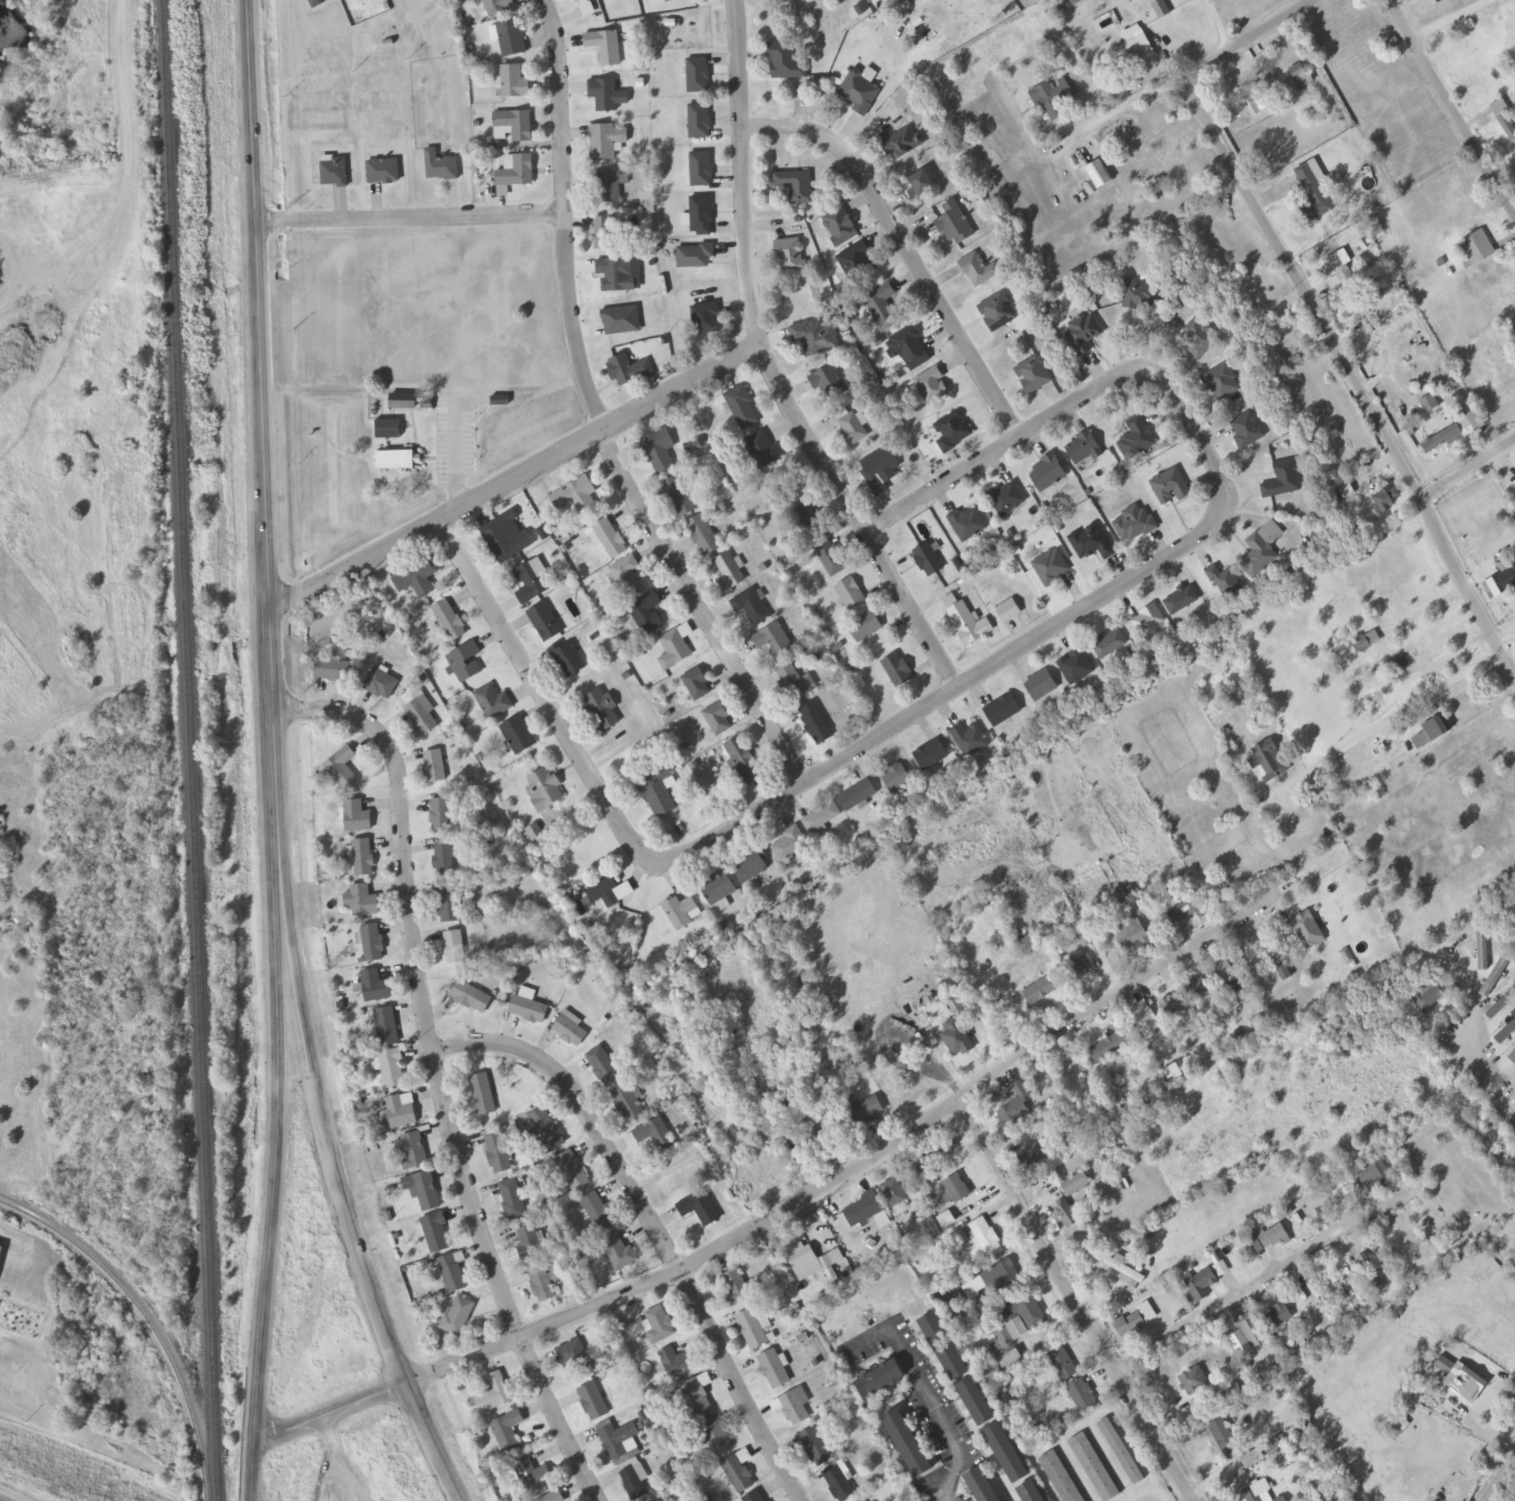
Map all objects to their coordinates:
building: (576, 0)
building: (668, 0)
building: (317, 2)
building: (1076, 2)
building: (498, 7)
building: (1161, 9)
road: (1451, 19)
building: (512, 38)
road: (1249, 39)
building: (605, 47)
building: (1133, 49)
building: (786, 62)
building: (698, 76)
building: (1303, 80)
building: (514, 83)
building: (860, 90)
building: (1248, 94)
building: (607, 96)
building: (1054, 98)
road: (1452, 103)
building: (1504, 118)
building: (700, 121)
building: (513, 126)
building: (606, 142)
building: (901, 143)
road: (422, 166)
building: (440, 167)
building: (701, 170)
building: (516, 171)
building: (383, 172)
building: (334, 173)
building: (921, 185)
building: (608, 186)
building: (796, 186)
building: (1158, 192)
building: (1314, 193)
road: (407, 216)
building: (701, 217)
building: (953, 223)
building: (840, 227)
building: (604, 234)
road: (906, 248)
building: (1478, 248)
building: (790, 256)
building: (695, 257)
building: (858, 262)
building: (1341, 268)
building: (979, 270)
building: (616, 276)
building: (1261, 282)
building: (1138, 296)
building: (1358, 306)
building: (886, 307)
building: (998, 312)
building: (706, 320)
building: (1083, 334)
building: (817, 338)
building: (1198, 339)
building: (909, 345)
road: (769, 365)
building: (628, 371)
road: (1352, 374)
building: (1034, 375)
building: (1221, 383)
building: (828, 384)
building: (932, 386)
building: (409, 402)
building: (743, 408)
road: (1063, 410)
road: (597, 416)
building: (852, 429)
building: (388, 430)
building: (1247, 431)
building: (952, 432)
building: (1453, 434)
building: (1136, 440)
building: (762, 450)
building: (1084, 450)
building: (658, 451)
building: (395, 461)
road: (1468, 466)
building: (880, 470)
building: (1048, 473)
road: (259, 478)
road: (512, 479)
building: (1284, 481)
building: (1170, 488)
building: (679, 497)
building: (577, 498)
building: (1007, 498)
building: (1388, 499)
building: (968, 524)
building: (1135, 526)
building: (703, 536)
building: (506, 538)
building: (610, 539)
building: (1091, 543)
building: (1262, 550)
building: (831, 558)
building: (928, 561)
building: (1051, 568)
building: (729, 573)
building: (627, 577)
building: (417, 579)
building: (1502, 580)
building: (1224, 582)
building: (530, 584)
building: (850, 595)
building: (1181, 601)
building: (752, 608)
building: (1009, 611)
building: (647, 615)
building: (1148, 620)
building: (449, 622)
building: (545, 623)
building: (969, 624)
building: (865, 627)
building: (774, 642)
building: (1366, 643)
building: (1110, 645)
building: (674, 651)
building: (567, 659)
building: (1406, 662)
building: (465, 664)
building: (1076, 667)
building: (332, 671)
building: (898, 671)
building: (381, 685)
building: (697, 685)
road: (954, 686)
building: (1041, 686)
road: (542, 692)
building: (493, 703)
building: (1003, 710)
building: (601, 711)
building: (421, 720)
building: (718, 720)
building: (815, 723)
building: (1432, 733)
building: (518, 736)
building: (968, 739)
railway: (190, 750)
building: (931, 755)
building: (744, 761)
building: (1268, 761)
building: (434, 767)
building: (342, 768)
building: (896, 778)
building: (544, 790)
building: (659, 793)
building: (858, 796)
building: (440, 816)
building: (357, 817)
building: (822, 818)
building: (790, 845)
building: (363, 858)
building: (444, 859)
building: (752, 866)
building: (718, 889)
building: (604, 892)
building: (362, 902)
building: (450, 904)
building: (1186, 909)
building: (681, 913)
building: (1307, 931)
building: (1133, 938)
building: (372, 944)
building: (454, 948)
building: (1482, 948)
building: (1276, 959)
building: (1080, 968)
building: (1226, 972)
building: (375, 988)
building: (1198, 991)
building: (1040, 992)
building: (1429, 997)
building: (471, 998)
building: (1504, 1004)
building: (1172, 1006)
building: (529, 1011)
building: (1147, 1022)
building: (387, 1027)
building: (1512, 1030)
building: (570, 1031)
building: (734, 1036)
building: (959, 1041)
building: (1112, 1046)
building: (1512, 1058)
building: (603, 1067)
building: (392, 1070)
road: (437, 1070)
road: (973, 1080)
building: (484, 1093)
building: (628, 1104)
building: (1014, 1106)
building: (866, 1111)
building: (401, 1112)
building: (547, 1132)
building: (651, 1136)
building: (810, 1138)
building: (943, 1151)
building: (411, 1152)
building: (498, 1155)
building: (1034, 1157)
building: (572, 1172)
building: (1377, 1178)
building: (1076, 1185)
building: (957, 1190)
building: (424, 1191)
building: (894, 1194)
road: (273, 1197)
building: (512, 1201)
building: (700, 1210)
building: (597, 1212)
building: (866, 1212)
building: (1067, 1215)
building: (1429, 1217)
road: (650, 1228)
road: (352, 1234)
building: (437, 1234)
building: (984, 1237)
building: (1269, 1238)
building: (531, 1244)
building: (1, 1251)
building: (620, 1254)
building: (801, 1260)
building: (1220, 1270)
building: (452, 1274)
building: (1127, 1274)
building: (1371, 1274)
building: (1004, 1275)
road: (1261, 1279)
building: (1204, 1285)
building: (542, 1287)
building: (736, 1289)
road: (1074, 1296)
building: (1023, 1315)
building: (1280, 1316)
building: (458, 1317)
railway: (146, 1321)
building: (1136, 1322)
building: (659, 1326)
building: (752, 1330)
building: (1251, 1332)
building: (1004, 1338)
building: (945, 1348)
building: (575, 1358)
building: (676, 1364)
building: (1063, 1365)
building: (1003, 1368)
building: (774, 1371)
building: (1459, 1380)
building: (881, 1381)
building: (1194, 1382)
building: (494, 1395)
building: (698, 1396)
building: (1082, 1396)
building: (593, 1403)
building: (977, 1403)
building: (796, 1408)
road: (331, 1413)
building: (508, 1433)
building: (716, 1438)
building: (1225, 1440)
building: (618, 1441)
building: (909, 1445)
building: (1274, 1447)
building: (816, 1448)
building: (1121, 1453)
building: (1007, 1454)
building: (1253, 1460)
building: (1094, 1468)
road: (253, 1469)
building: (739, 1472)
building: (532, 1477)
building: (1060, 1478)
road: (1500, 1478)
building: (635, 1484)
building: (839, 1484)
building: (981, 1486)
building: (1031, 1492)
building: (1258, 1493)
building: (554, 1497)
building: (755, 1497)
building: (1282, 1499)
building: (1513, 1499)
building: (1162, 1500)

